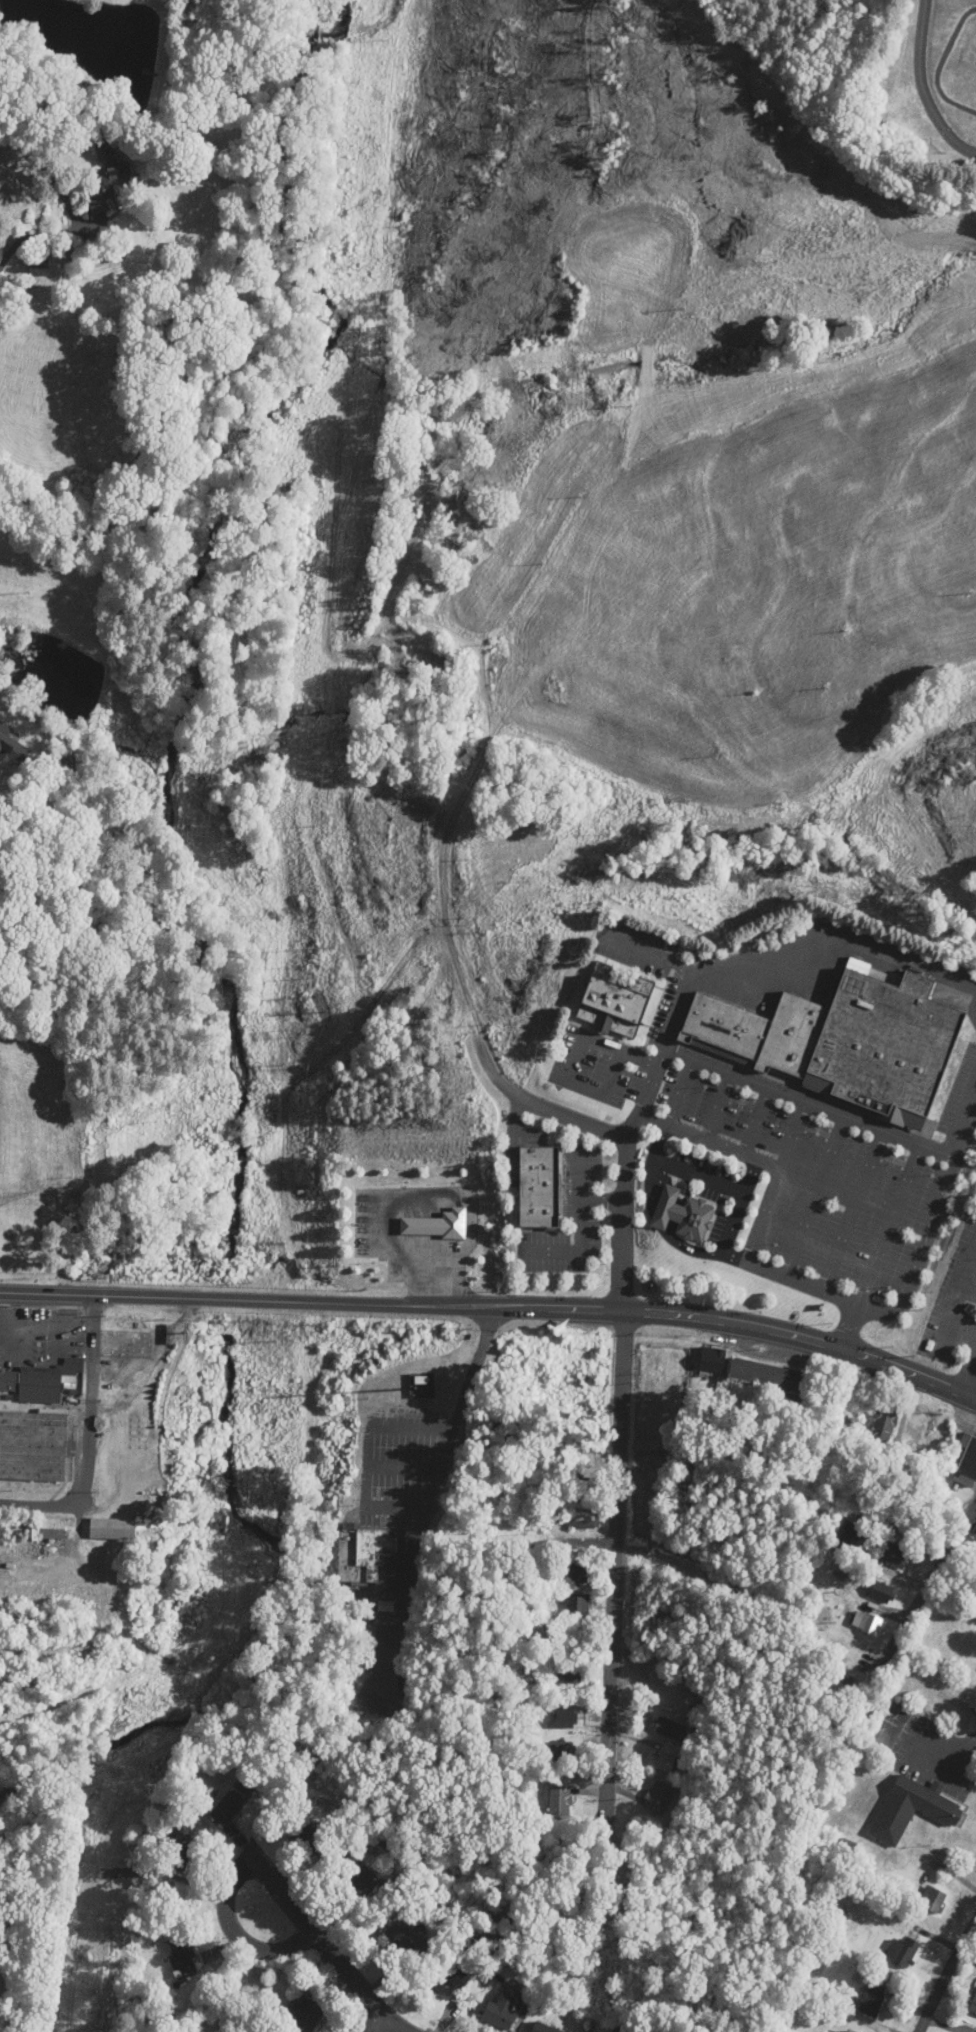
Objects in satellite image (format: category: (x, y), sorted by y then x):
road: (924, 87)
building: (109, 176)
road: (36, 235)
building: (38, 263)
crop: (729, 589)
road: (788, 958)
building: (614, 1000)
building: (891, 1038)
road: (660, 1054)
road: (574, 1059)
road: (808, 1102)
road: (719, 1107)
road: (756, 1121)
road: (965, 1126)
road: (665, 1127)
road: (616, 1132)
road: (709, 1140)
road: (581, 1173)
road: (701, 1174)
road: (776, 1180)
building: (539, 1187)
road: (814, 1195)
road: (741, 1206)
road: (852, 1210)
building: (683, 1215)
building: (435, 1225)
road: (580, 1231)
road: (879, 1246)
road: (840, 1297)
road: (495, 1303)
road: (958, 1303)
road: (963, 1329)
power tower: (270, 1332)
building: (712, 1360)
building: (72, 1368)
road: (967, 1372)
building: (767, 1375)
building: (33, 1384)
building: (886, 1419)
road: (618, 1427)
building: (917, 1430)
road: (87, 1431)
building: (33, 1446)
building: (967, 1463)
road: (512, 1468)
building: (806, 1485)
building: (589, 1490)
building: (501, 1502)
road: (11, 1507)
building: (540, 1518)
building: (586, 1520)
building: (53, 1529)
building: (111, 1529)
road: (969, 1529)
building: (848, 1535)
road: (548, 1541)
building: (890, 1552)
building: (368, 1559)
building: (580, 1574)
road: (931, 1583)
building: (881, 1592)
building: (578, 1606)
building: (871, 1624)
building: (576, 1639)
building: (565, 1674)
road: (931, 1690)
building: (565, 1718)
building: (669, 1729)
building: (562, 1750)
road: (607, 1756)
building: (663, 1762)
power tower: (118, 1790)
building: (659, 1798)
building: (560, 1803)
building: (232, 1804)
building: (912, 1809)
building: (180, 1847)
building: (849, 1848)
road: (775, 1850)
building: (354, 1880)
building: (933, 1899)
road: (235, 1930)
building: (409, 1938)
road: (325, 1948)
building: (903, 1952)
building: (184, 1955)
building: (448, 1977)
road: (947, 1980)
power tower: (89, 1988)
building: (873, 1999)
building: (972, 2005)
building: (501, 2012)
building: (305, 2017)
road: (375, 2024)
building: (543, 2028)
building: (849, 2031)

